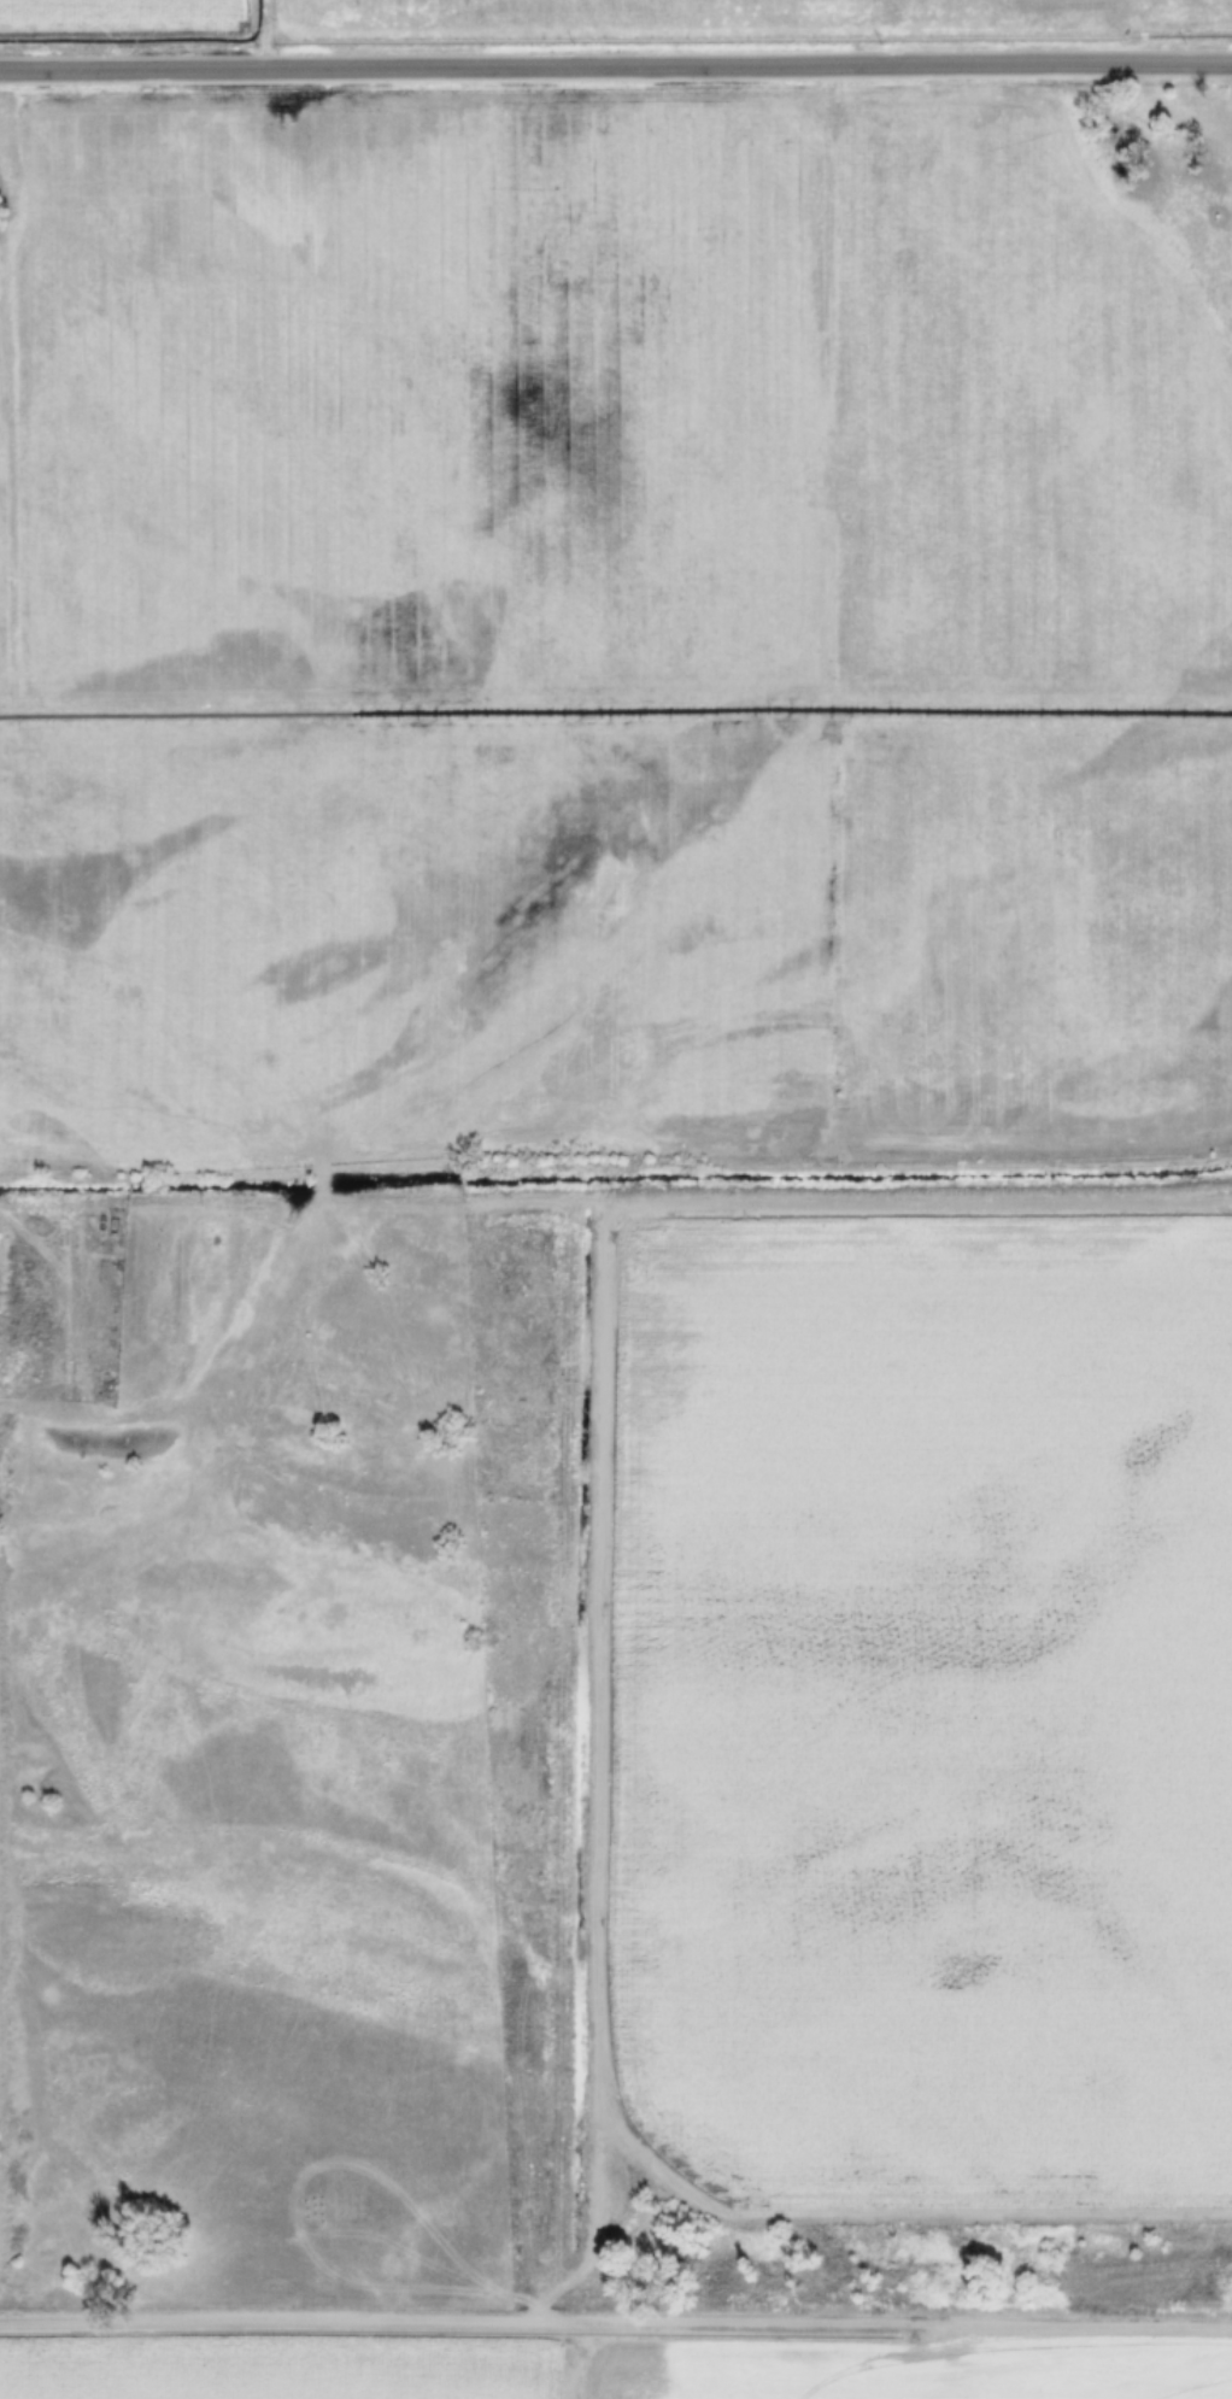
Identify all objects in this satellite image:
road: (615, 69)
building: (106, 1384)

